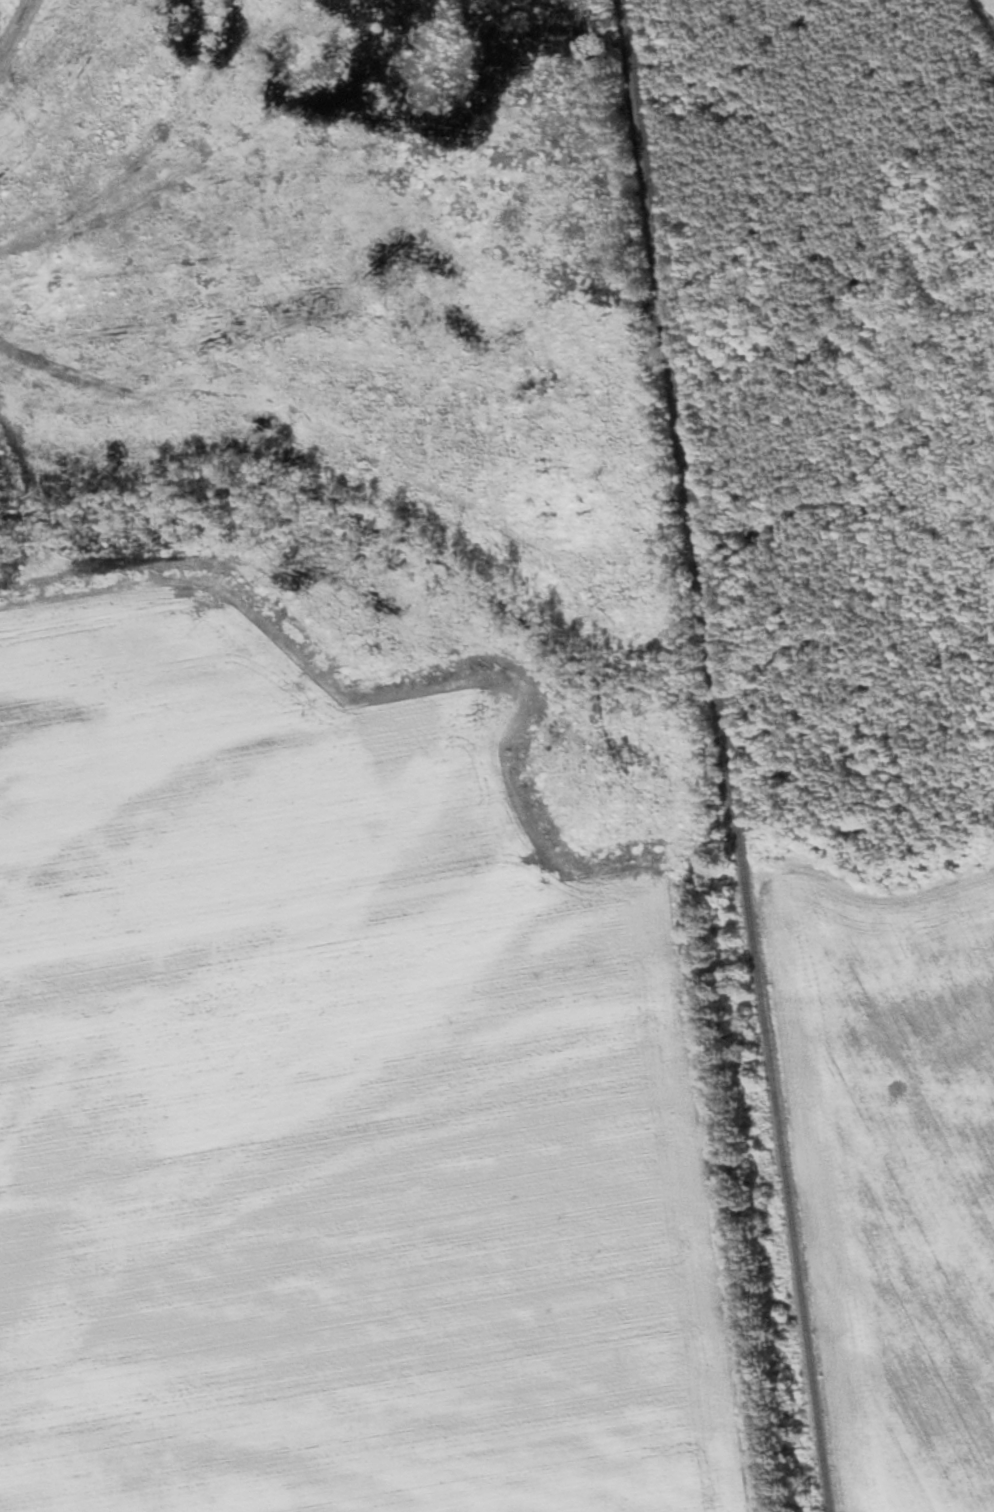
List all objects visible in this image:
railway: (725, 756)

